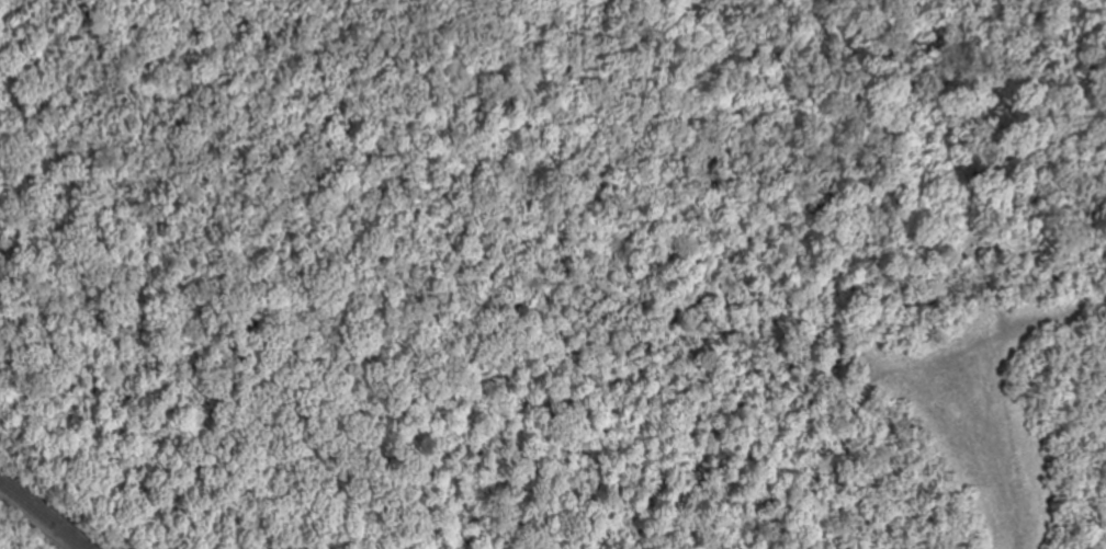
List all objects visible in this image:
railway: (38, 517)

